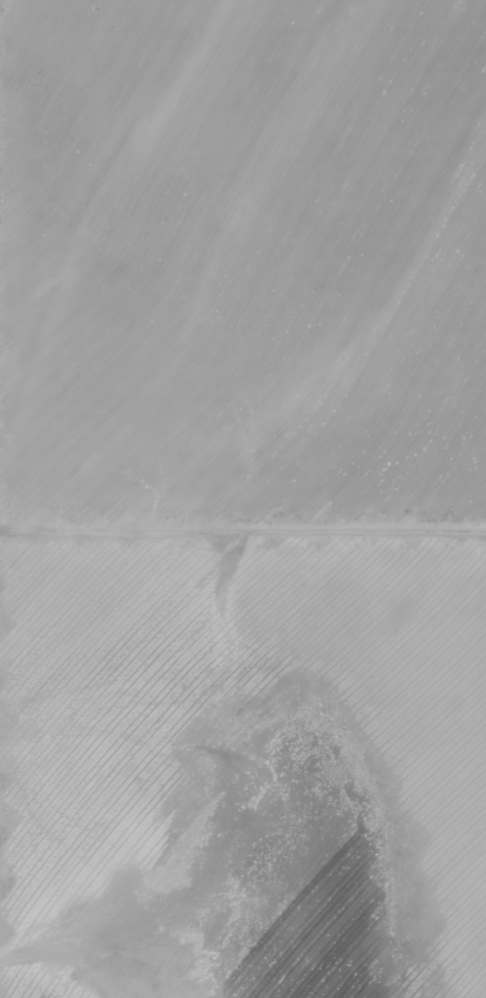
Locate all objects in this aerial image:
road: (243, 532)

